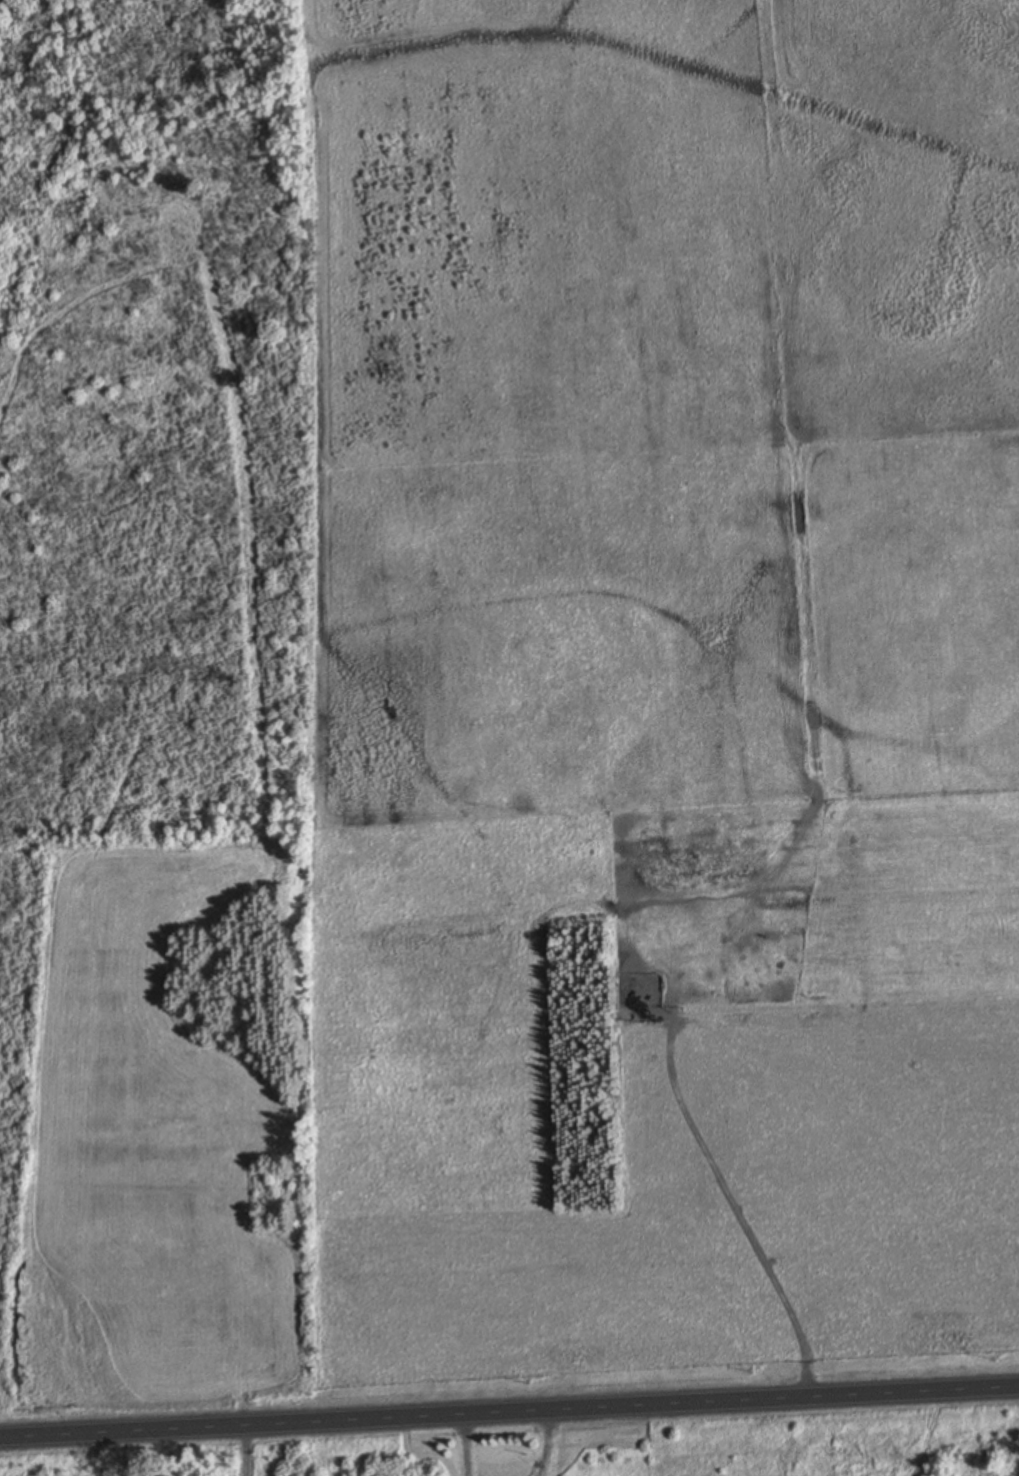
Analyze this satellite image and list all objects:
road: (509, 1412)

